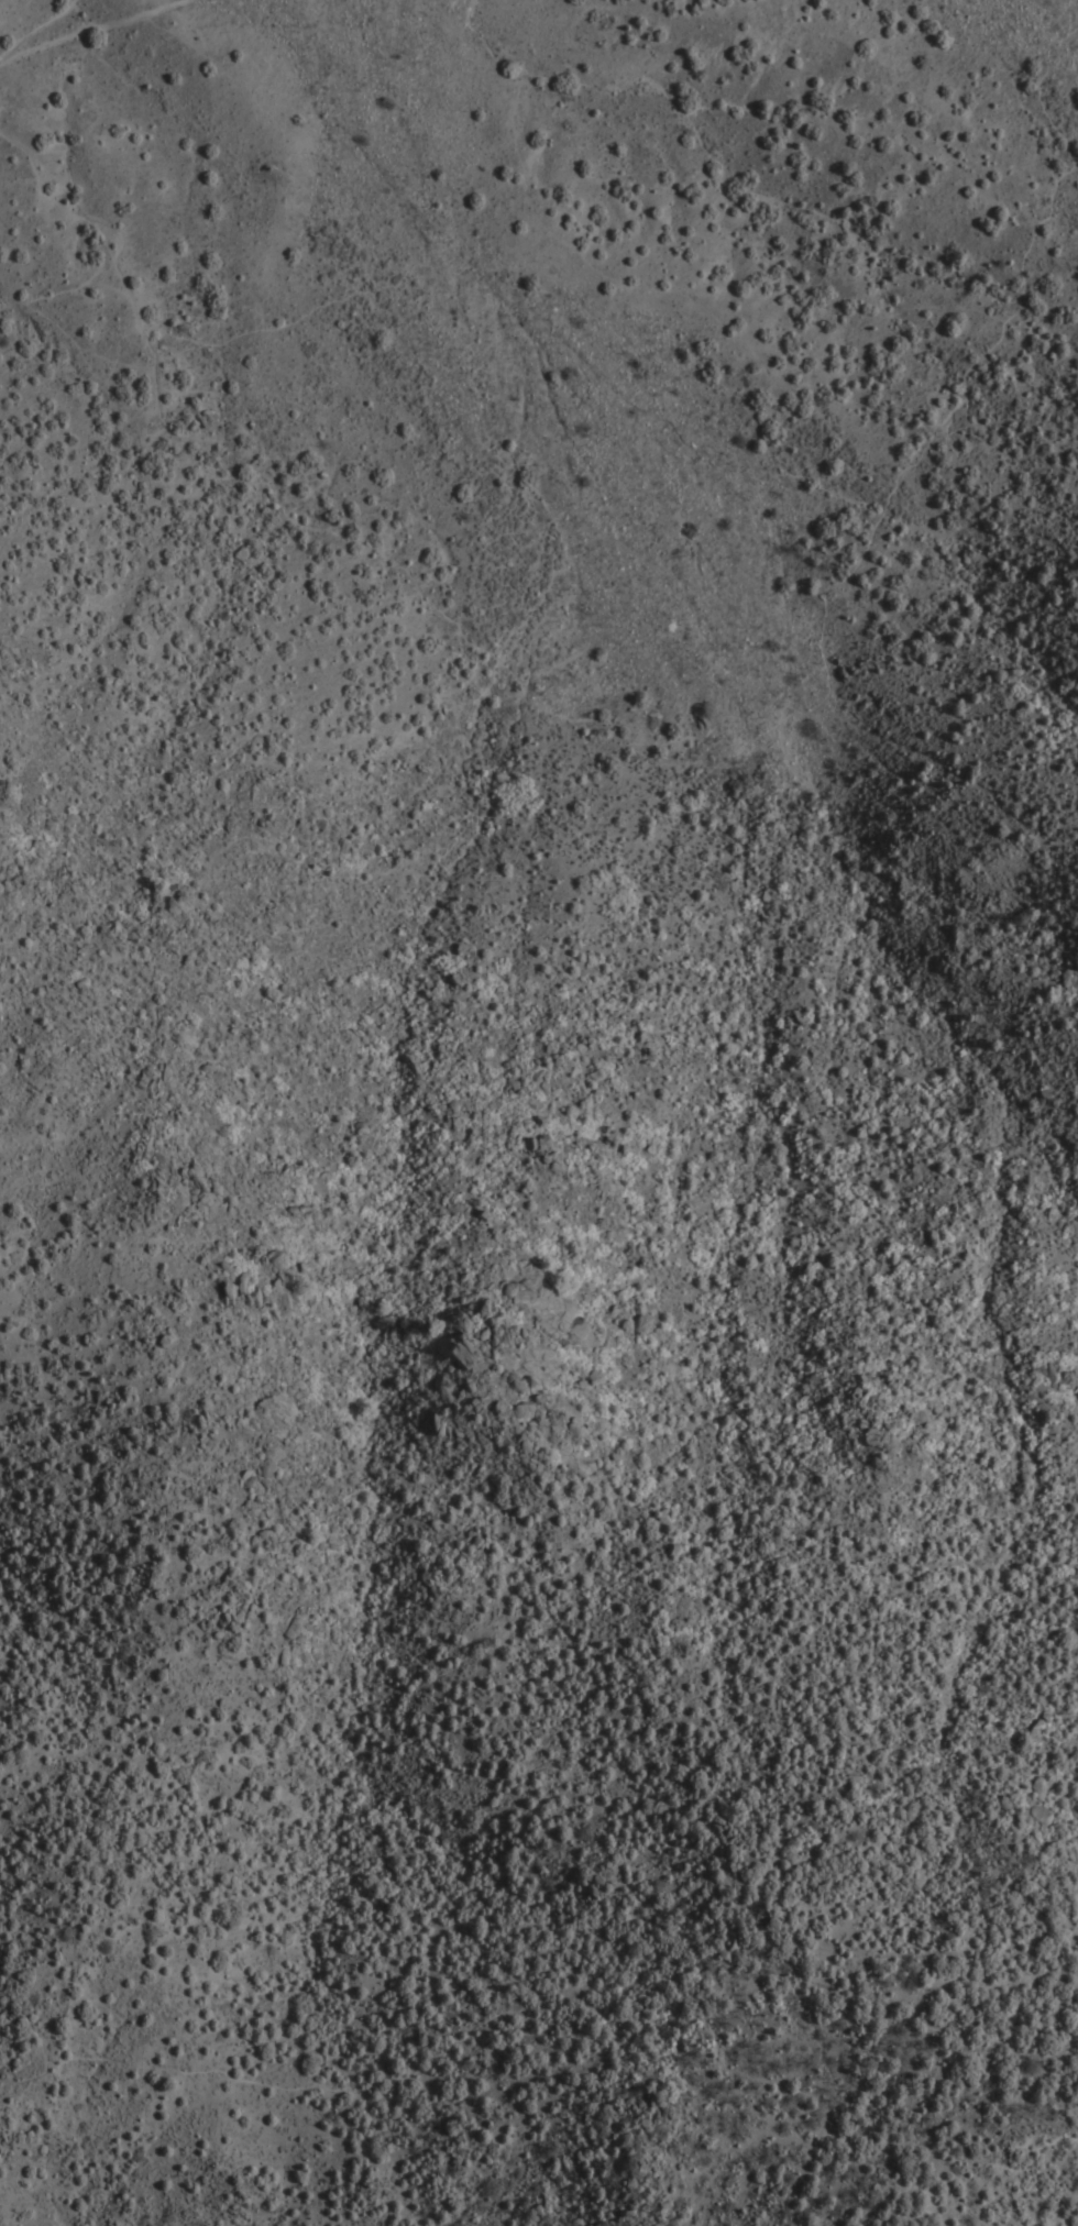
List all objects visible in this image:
road: (38, 30)
road: (120, 250)
road: (63, 289)
road: (820, 708)
road: (547, 2014)

